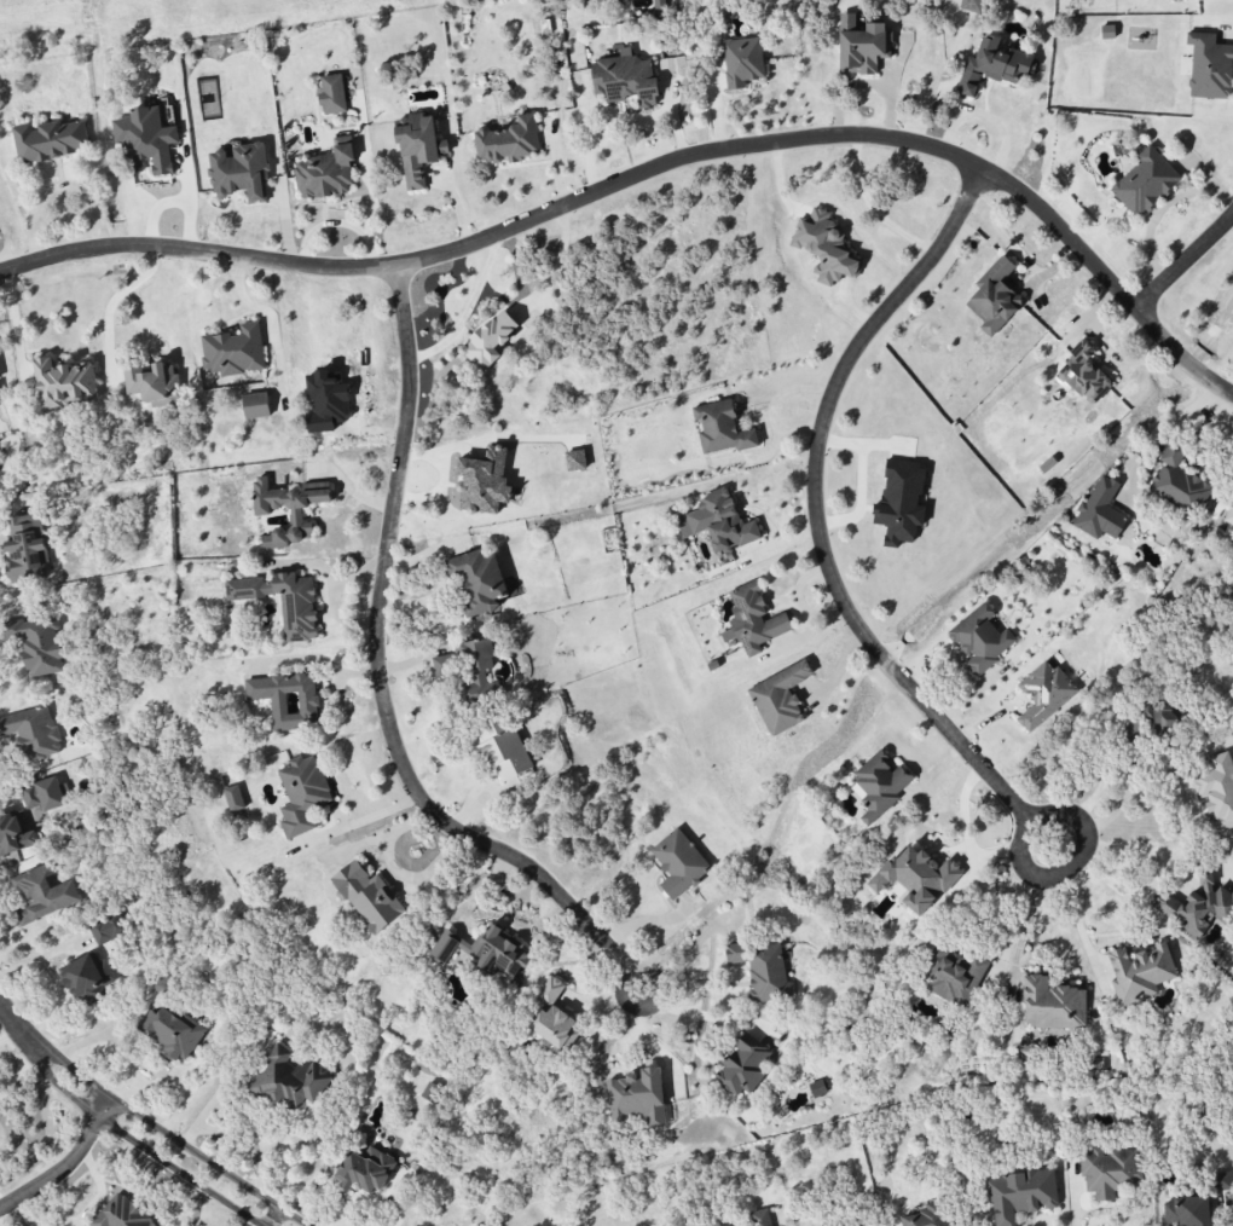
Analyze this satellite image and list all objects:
building: (972, 5)
building: (862, 45)
building: (742, 62)
building: (994, 65)
building: (1209, 66)
building: (626, 79)
building: (332, 94)
road: (985, 117)
building: (50, 140)
building: (146, 140)
building: (509, 141)
building: (419, 149)
road: (653, 168)
building: (239, 173)
building: (325, 173)
building: (1145, 183)
road: (874, 210)
building: (826, 247)
road: (1183, 262)
road: (554, 267)
road: (120, 296)
building: (995, 299)
road: (464, 307)
building: (490, 341)
road: (1106, 348)
building: (235, 351)
building: (1084, 375)
building: (64, 383)
building: (155, 384)
building: (256, 405)
building: (722, 428)
building: (575, 461)
building: (484, 481)
building: (1179, 481)
building: (901, 502)
road: (814, 509)
building: (1100, 510)
building: (262, 513)
building: (1229, 515)
building: (718, 522)
building: (27, 549)
building: (477, 582)
building: (283, 601)
building: (753, 619)
building: (980, 640)
building: (37, 643)
building: (467, 669)
road: (381, 673)
building: (1043, 694)
building: (780, 698)
building: (288, 700)
building: (1159, 717)
building: (33, 731)
building: (505, 750)
building: (880, 783)
building: (1216, 791)
building: (302, 794)
building: (30, 796)
road: (1139, 796)
building: (233, 798)
building: (13, 834)
road: (375, 837)
road: (1142, 854)
building: (679, 863)
road: (1071, 864)
road: (413, 874)
building: (917, 878)
building: (42, 895)
building: (367, 897)
building: (1198, 906)
road: (1076, 920)
road: (1001, 923)
building: (99, 932)
building: (445, 945)
building: (502, 952)
building: (762, 967)
building: (1140, 971)
building: (87, 977)
building: (955, 978)
building: (550, 990)
road: (623, 996)
building: (1053, 1004)
road: (706, 1016)
road: (16, 1025)
building: (556, 1028)
building: (174, 1033)
road: (10, 1037)
building: (743, 1065)
road: (16, 1068)
building: (290, 1081)
building: (637, 1097)
road: (167, 1135)
road: (137, 1144)
road: (68, 1167)
building: (365, 1170)
building: (1108, 1172)
building: (1223, 1181)
building: (1020, 1195)
building: (1186, 1211)
building: (122, 1214)
building: (928, 1215)
road: (276, 1218)
building: (760, 1218)

